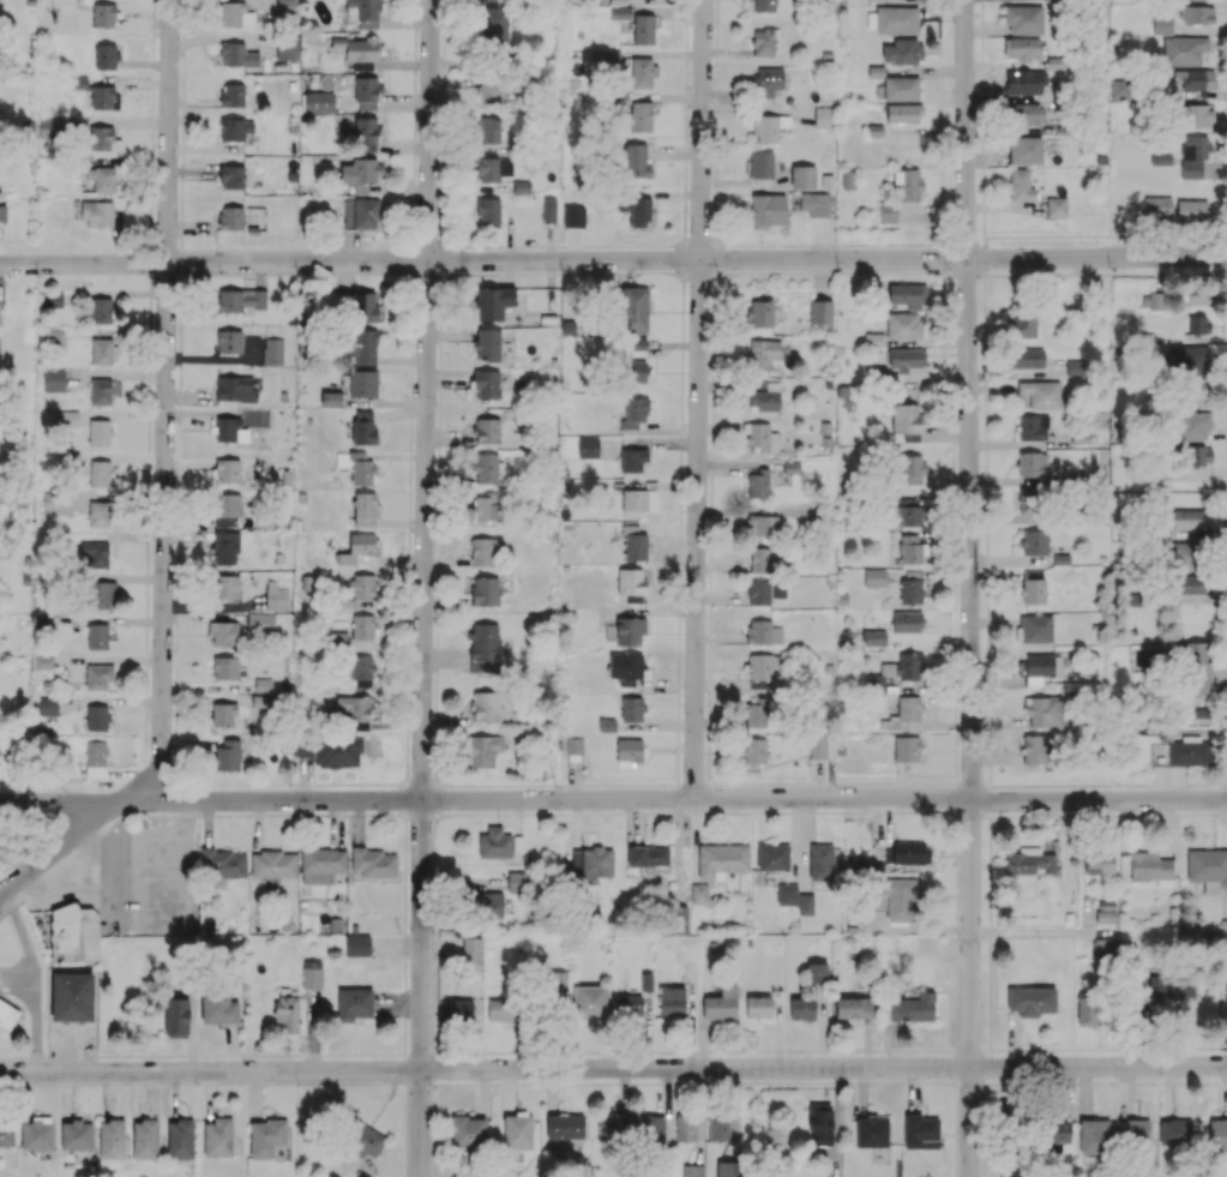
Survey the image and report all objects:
building: (1049, 0)
road: (416, 2)
building: (764, 5)
building: (287, 7)
road: (939, 8)
building: (363, 10)
building: (620, 12)
building: (235, 13)
building: (1197, 14)
building: (103, 16)
road: (444, 18)
road: (686, 18)
road: (980, 18)
building: (892, 19)
building: (1023, 19)
road: (184, 24)
building: (1162, 24)
building: (643, 28)
building: (763, 42)
road: (415, 43)
building: (287, 47)
building: (1023, 48)
building: (357, 50)
building: (902, 50)
building: (1184, 50)
building: (237, 54)
building: (106, 56)
road: (716, 58)
road: (939, 59)
road: (685, 62)
road: (444, 67)
road: (981, 67)
building: (642, 72)
road: (152, 76)
building: (1195, 78)
building: (769, 80)
building: (1024, 82)
building: (78, 83)
building: (901, 88)
building: (367, 91)
building: (489, 91)
building: (233, 95)
building: (104, 97)
building: (318, 102)
road: (685, 109)
building: (903, 113)
building: (1025, 113)
building: (640, 115)
building: (1196, 115)
building: (824, 118)
road: (982, 121)
building: (50, 127)
building: (769, 127)
building: (231, 128)
building: (489, 131)
building: (365, 133)
road: (940, 137)
building: (102, 138)
road: (685, 142)
road: (414, 144)
road: (181, 148)
road: (715, 150)
building: (1025, 150)
building: (1193, 155)
building: (636, 160)
road: (685, 163)
building: (762, 163)
building: (493, 168)
road: (444, 172)
building: (359, 173)
building: (231, 176)
building: (802, 176)
building: (101, 178)
road: (151, 179)
building: (850, 179)
building: (908, 184)
building: (1021, 185)
road: (940, 186)
road: (982, 191)
building: (622, 204)
building: (816, 204)
road: (684, 205)
building: (1057, 206)
building: (1157, 208)
building: (548, 209)
road: (714, 209)
building: (768, 209)
building: (1192, 209)
building: (488, 210)
building: (639, 211)
building: (888, 212)
building: (97, 214)
building: (361, 214)
building: (573, 216)
building: (230, 217)
road: (151, 218)
road: (942, 221)
road: (413, 224)
road: (1172, 234)
road: (1051, 235)
road: (151, 240)
road: (699, 242)
road: (936, 242)
road: (829, 244)
road: (587, 245)
road: (462, 246)
road: (482, 246)
road: (319, 248)
road: (357, 248)
road: (401, 248)
road: (245, 250)
road: (984, 256)
road: (681, 258)
road: (716, 258)
road: (413, 259)
road: (444, 259)
road: (613, 259)
road: (181, 260)
road: (367, 271)
road: (624, 271)
road: (820, 271)
road: (931, 271)
road: (966, 271)
road: (248, 272)
road: (309, 272)
road: (452, 272)
road: (506, 272)
road: (560, 272)
road: (1191, 272)
road: (192, 274)
road: (699, 274)
road: (1040, 274)
road: (1109, 274)
road: (999, 275)
road: (942, 277)
road: (714, 284)
road: (942, 289)
building: (907, 294)
road: (180, 298)
building: (50, 299)
building: (240, 299)
building: (1198, 299)
building: (1153, 300)
building: (493, 302)
road: (150, 304)
road: (411, 305)
building: (363, 306)
building: (633, 308)
building: (101, 310)
building: (820, 311)
building: (760, 313)
road: (712, 322)
building: (1021, 322)
road: (441, 324)
building: (1198, 324)
building: (903, 325)
road: (984, 326)
building: (53, 338)
building: (874, 340)
building: (229, 341)
building: (487, 343)
building: (636, 343)
building: (361, 346)
road: (149, 349)
building: (101, 350)
building: (272, 350)
building: (763, 353)
road: (712, 355)
building: (1025, 358)
building: (1187, 359)
building: (906, 361)
building: (634, 371)
road: (681, 374)
road: (149, 378)
road: (1226, 379)
road: (712, 380)
building: (362, 383)
building: (486, 383)
building: (234, 388)
building: (1196, 389)
building: (101, 391)
building: (1041, 392)
building: (331, 398)
road: (698, 398)
road: (149, 403)
road: (179, 404)
road: (164, 412)
building: (634, 412)
road: (439, 418)
building: (904, 420)
building: (1193, 425)
building: (363, 427)
building: (1033, 427)
building: (227, 428)
building: (487, 430)
road: (410, 431)
building: (100, 432)
road: (148, 436)
building: (760, 436)
road: (949, 437)
road: (985, 437)
building: (1081, 437)
building: (588, 446)
building: (1199, 455)
building: (71, 460)
building: (632, 460)
road: (710, 460)
building: (1031, 464)
road: (1226, 466)
building: (485, 467)
building: (360, 469)
building: (912, 469)
building: (101, 473)
building: (1076, 478)
building: (758, 484)
road: (148, 493)
road: (438, 498)
building: (634, 499)
building: (1025, 500)
road: (680, 502)
building: (56, 503)
building: (227, 508)
building: (485, 508)
building: (365, 509)
road: (986, 510)
road: (178, 512)
building: (98, 514)
building: (910, 516)
building: (1189, 518)
building: (762, 524)
road: (710, 536)
road: (680, 539)
building: (1034, 542)
building: (634, 544)
building: (225, 546)
road: (986, 546)
building: (357, 547)
building: (910, 547)
road: (176, 551)
building: (486, 551)
building: (95, 553)
road: (437, 553)
building: (1181, 554)
building: (1061, 558)
building: (765, 559)
road: (408, 565)
building: (874, 576)
road: (176, 577)
road: (679, 578)
road: (985, 580)
building: (633, 583)
building: (1190, 583)
building: (1033, 586)
building: (912, 587)
road: (423, 588)
road: (437, 588)
road: (969, 588)
building: (361, 590)
building: (485, 590)
building: (759, 591)
building: (101, 594)
road: (1226, 595)
building: (276, 597)
road: (955, 611)
road: (987, 611)
road: (408, 615)
building: (43, 620)
building: (260, 621)
building: (907, 621)
building: (362, 626)
building: (1034, 627)
building: (625, 630)
road: (176, 631)
building: (763, 631)
building: (223, 632)
road: (435, 632)
building: (97, 636)
building: (337, 637)
building: (873, 637)
building: (483, 645)
road: (146, 649)
building: (43, 661)
building: (762, 666)
building: (225, 667)
building: (626, 667)
road: (708, 667)
road: (988, 667)
building: (1041, 667)
building: (1195, 668)
building: (362, 671)
building: (897, 671)
road: (955, 674)
road: (408, 675)
building: (98, 677)
road: (435, 678)
road: (1226, 678)
building: (260, 685)
road: (175, 697)
road: (676, 697)
building: (48, 705)
building: (485, 705)
building: (631, 709)
building: (1043, 710)
road: (435, 711)
building: (354, 713)
building: (756, 713)
building: (223, 714)
building: (904, 715)
road: (988, 716)
building: (96, 717)
building: (1196, 717)
building: (607, 725)
building: (1145, 726)
road: (1225, 726)
road: (175, 737)
road: (955, 744)
building: (818, 746)
road: (435, 747)
building: (907, 749)
building: (1034, 749)
building: (330, 750)
building: (482, 750)
building: (754, 750)
road: (407, 752)
building: (628, 752)
building: (1189, 752)
road: (988, 753)
building: (227, 756)
building: (95, 758)
road: (174, 767)
road: (1225, 771)
road: (435, 774)
road: (307, 782)
road: (420, 782)
road: (439, 782)
road: (831, 782)
road: (193, 783)
road: (692, 783)
road: (1115, 783)
road: (558, 785)
road: (999, 785)
road: (1226, 785)
road: (405, 797)
road: (438, 798)
road: (613, 798)
road: (988, 800)
road: (858, 811)
road: (904, 811)
road: (938, 811)
road: (632, 812)
road: (712, 812)
road: (774, 812)
road: (217, 813)
road: (299, 813)
road: (343, 813)
road: (380, 813)
road: (487, 813)
road: (548, 813)
road: (1167, 813)
road: (146, 815)
road: (397, 815)
road: (419, 815)
road: (1063, 815)
road: (1004, 816)
road: (118, 818)
road: (62, 823)
road: (957, 828)
road: (41, 840)
building: (494, 842)
road: (58, 847)
road: (432, 847)
road: (990, 847)
building: (909, 852)
building: (646, 857)
building: (772, 857)
building: (722, 859)
building: (1099, 860)
building: (591, 861)
building: (820, 861)
building: (1030, 861)
road: (11, 863)
building: (223, 863)
building: (375, 863)
building: (273, 864)
building: (321, 864)
building: (1151, 867)
building: (1208, 869)
building: (699, 893)
building: (787, 894)
road: (404, 895)
road: (990, 897)
building: (900, 899)
building: (487, 902)
building: (805, 903)
road: (432, 906)
building: (1107, 911)
road: (4, 913)
building: (675, 919)
building: (73, 933)
road: (1099, 933)
building: (357, 945)
road: (956, 947)
building: (1103, 949)
building: (471, 950)
building: (817, 973)
building: (312, 977)
road: (432, 980)
road: (404, 981)
road: (990, 983)
building: (554, 984)
building: (1171, 985)
building: (71, 996)
building: (1226, 996)
building: (670, 1001)
building: (1030, 1001)
building: (1, 1002)
building: (591, 1002)
building: (721, 1003)
building: (354, 1004)
building: (628, 1005)
building: (218, 1007)
building: (758, 1007)
building: (853, 1007)
building: (801, 1008)
building: (913, 1008)
building: (458, 1009)
building: (500, 1009)
building: (1087, 1009)
building: (288, 1014)
building: (7, 1016)
building: (176, 1017)
road: (404, 1020)
road: (432, 1037)
road: (1046, 1047)
road: (1150, 1047)
road: (1198, 1047)
road: (1216, 1047)
road: (589, 1050)
road: (625, 1050)
road: (658, 1050)
road: (679, 1050)
road: (715, 1050)
road: (748, 1050)
road: (794, 1050)
road: (841, 1050)
road: (901, 1050)
road: (968, 1050)
road: (456, 1051)
road: (497, 1051)
road: (545, 1051)
road: (252, 1053)
road: (49, 1057)
road: (956, 1065)
road: (404, 1067)
road: (985, 1067)
road: (613, 1068)
road: (212, 1081)
road: (847, 1081)
road: (968, 1081)
road: (1190, 1081)
road: (1213, 1081)
road: (11, 1082)
road: (483, 1082)
road: (551, 1082)
road: (624, 1082)
road: (709, 1082)
road: (1036, 1082)
road: (1126, 1082)
road: (992, 1083)
road: (982, 1092)
building: (1004, 1109)
building: (564, 1125)
building: (615, 1125)
building: (685, 1127)
building: (723, 1127)
road: (405, 1128)
road: (432, 1128)
building: (652, 1128)
road: (981, 1128)
road: (956, 1129)
building: (517, 1130)
building: (1138, 1130)
building: (468, 1131)
building: (872, 1131)
building: (920, 1131)
building: (1175, 1131)
building: (37, 1133)
building: (6, 1134)
building: (76, 1134)
building: (1055, 1134)
building: (1217, 1135)
building: (1096, 1136)
building: (145, 1137)
building: (218, 1137)
building: (266, 1137)
building: (112, 1139)
building: (180, 1139)
building: (357, 1145)
road: (981, 1166)
building: (727, 1169)
building: (692, 1170)
road: (431, 1172)
building: (1012, 1173)

